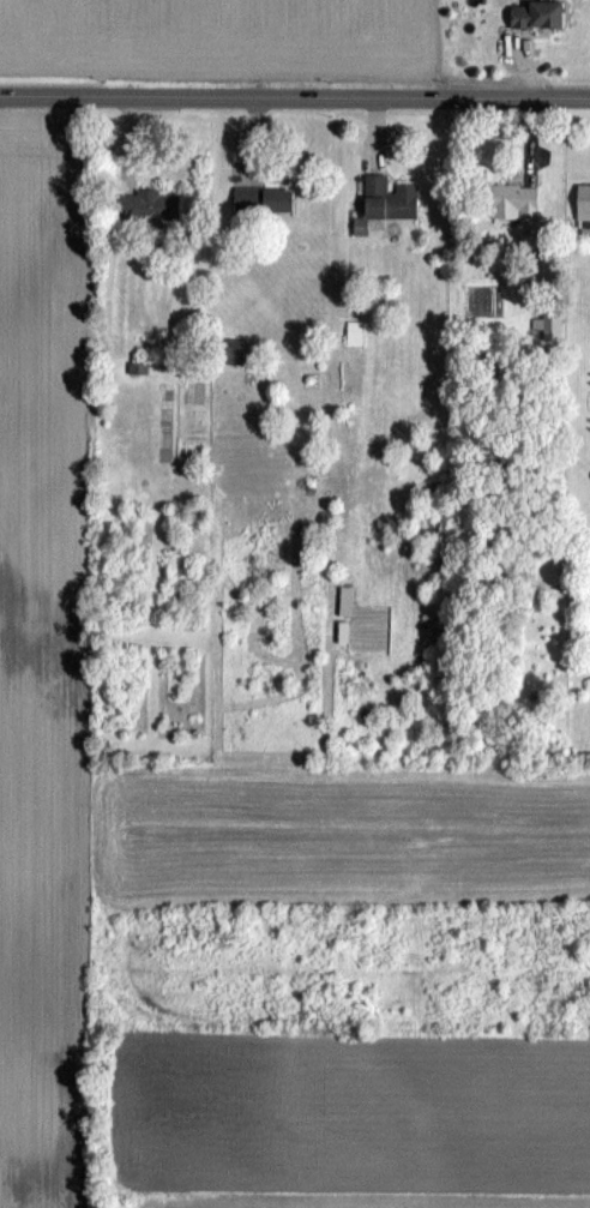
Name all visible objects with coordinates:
building: (541, 16)
crop: (216, 41)
road: (295, 96)
building: (391, 199)
building: (266, 200)
building: (510, 202)
building: (585, 203)
building: (150, 206)
building: (235, 354)
building: (139, 368)
building: (345, 632)

